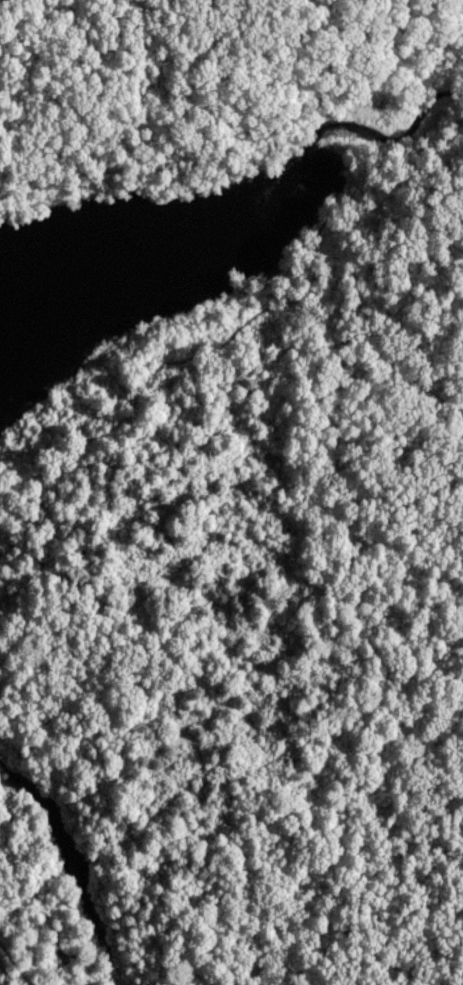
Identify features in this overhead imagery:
road: (245, 135)
road: (246, 325)
road: (15, 963)

